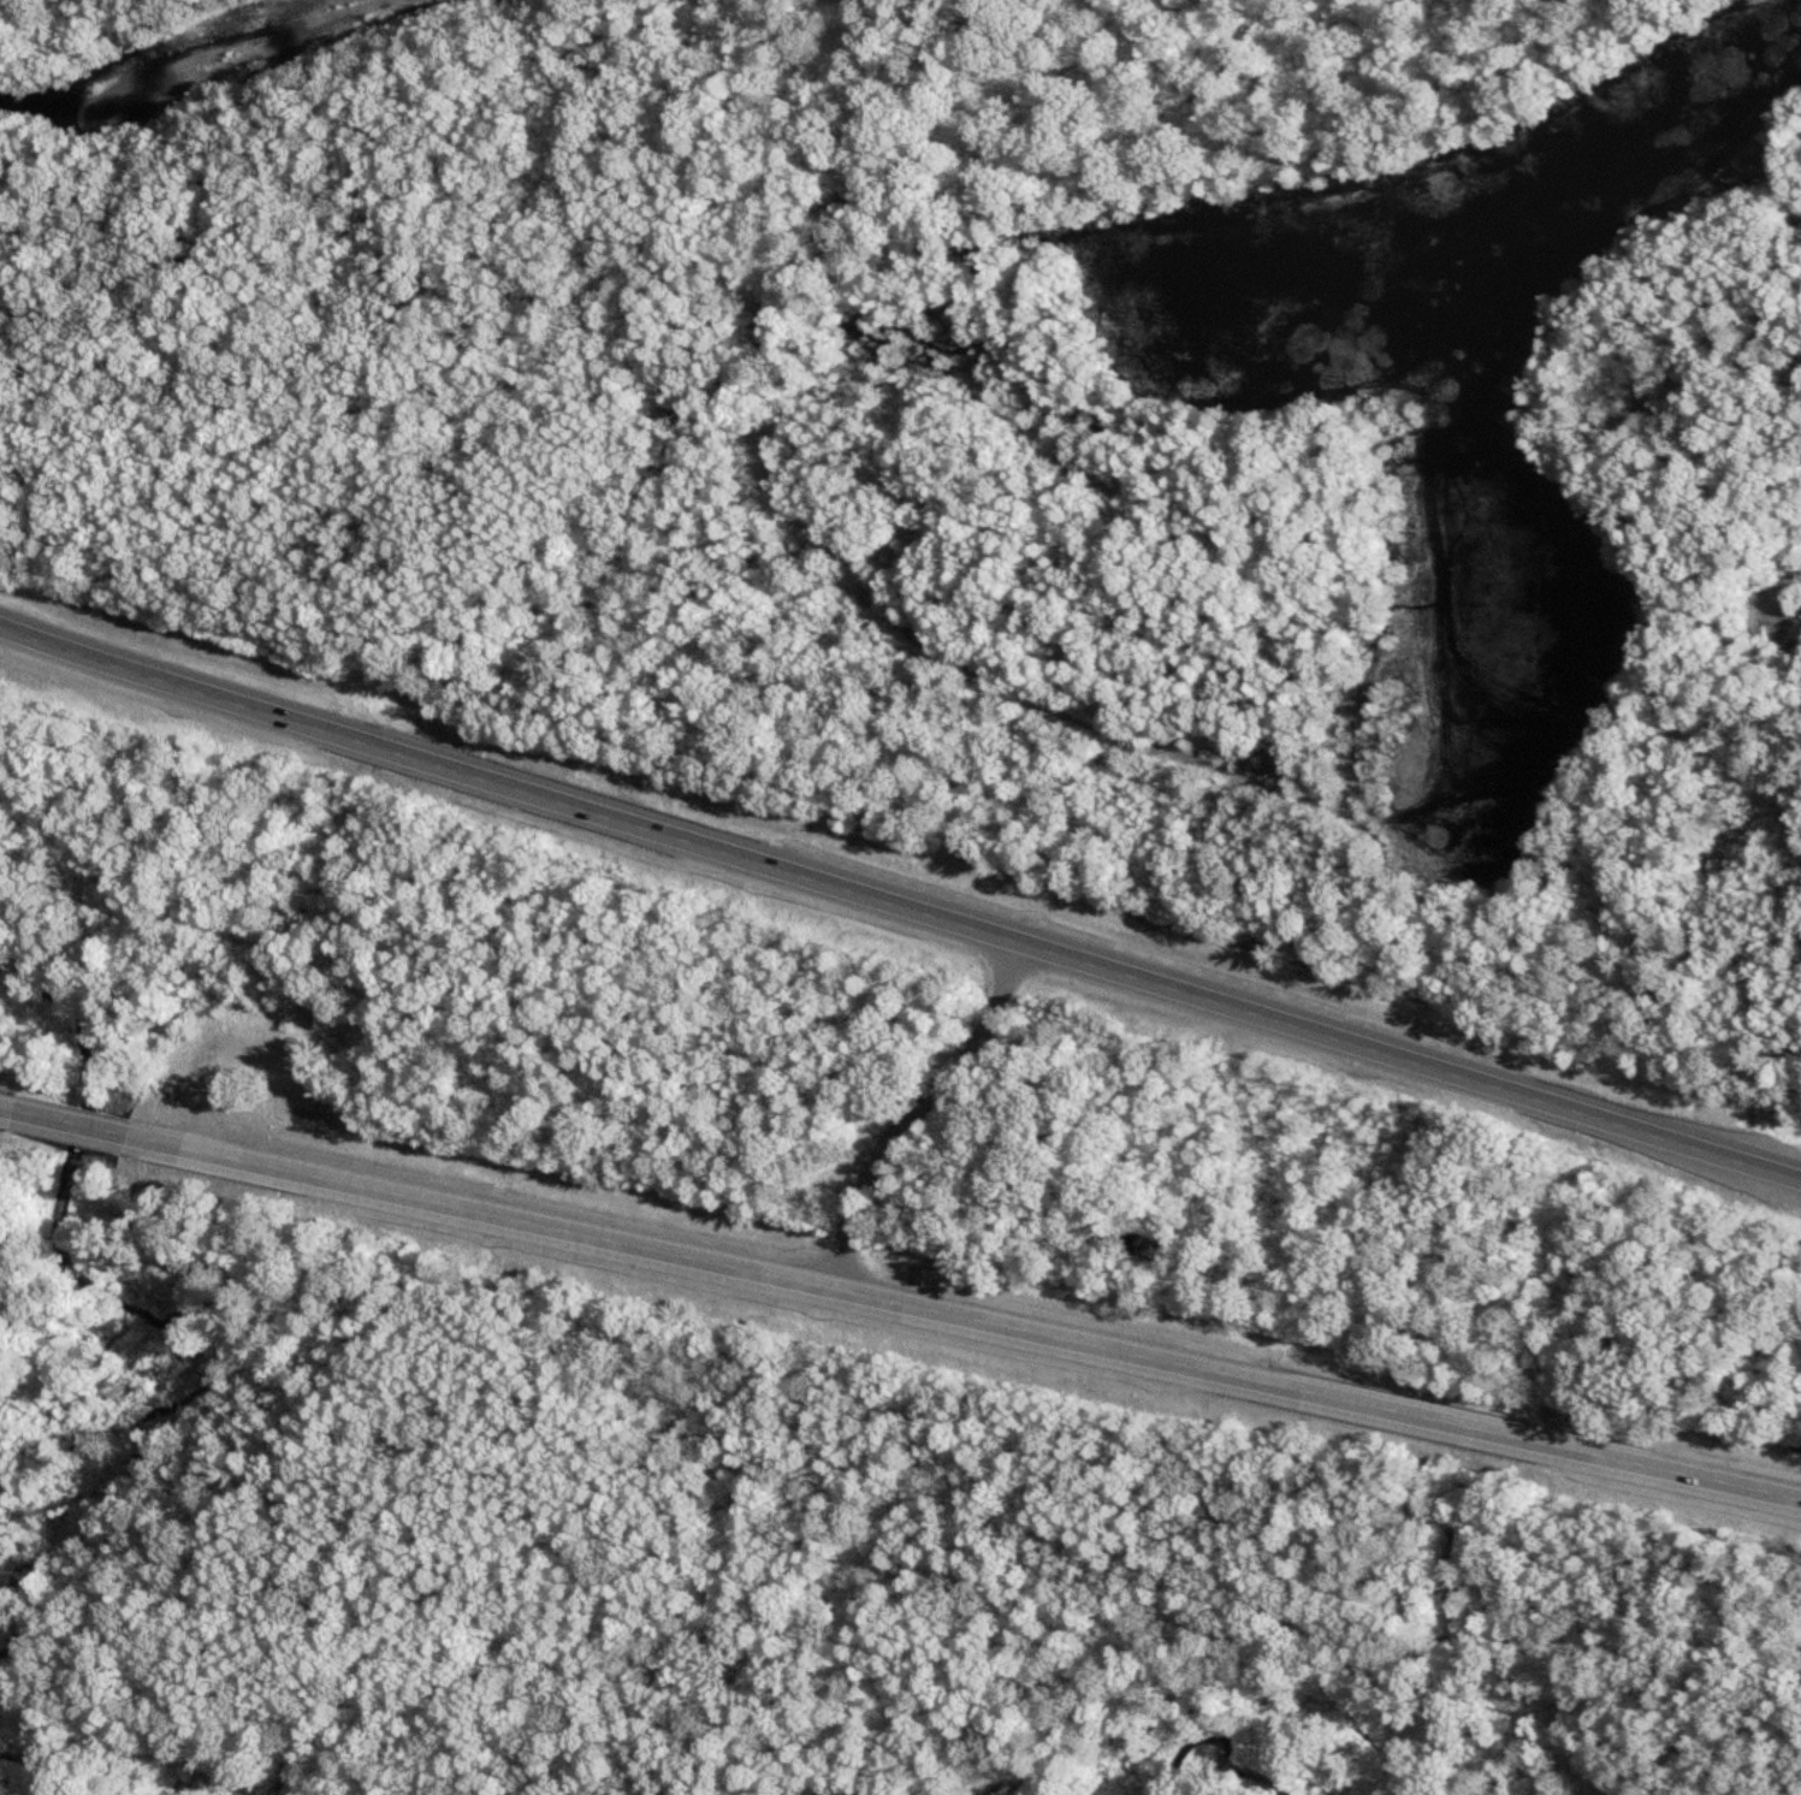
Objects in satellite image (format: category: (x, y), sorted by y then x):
road: (899, 907)
road: (918, 1110)
road: (76, 1124)
road: (976, 1320)
road: (786, 1423)
road: (1210, 1640)
road: (132, 1710)

